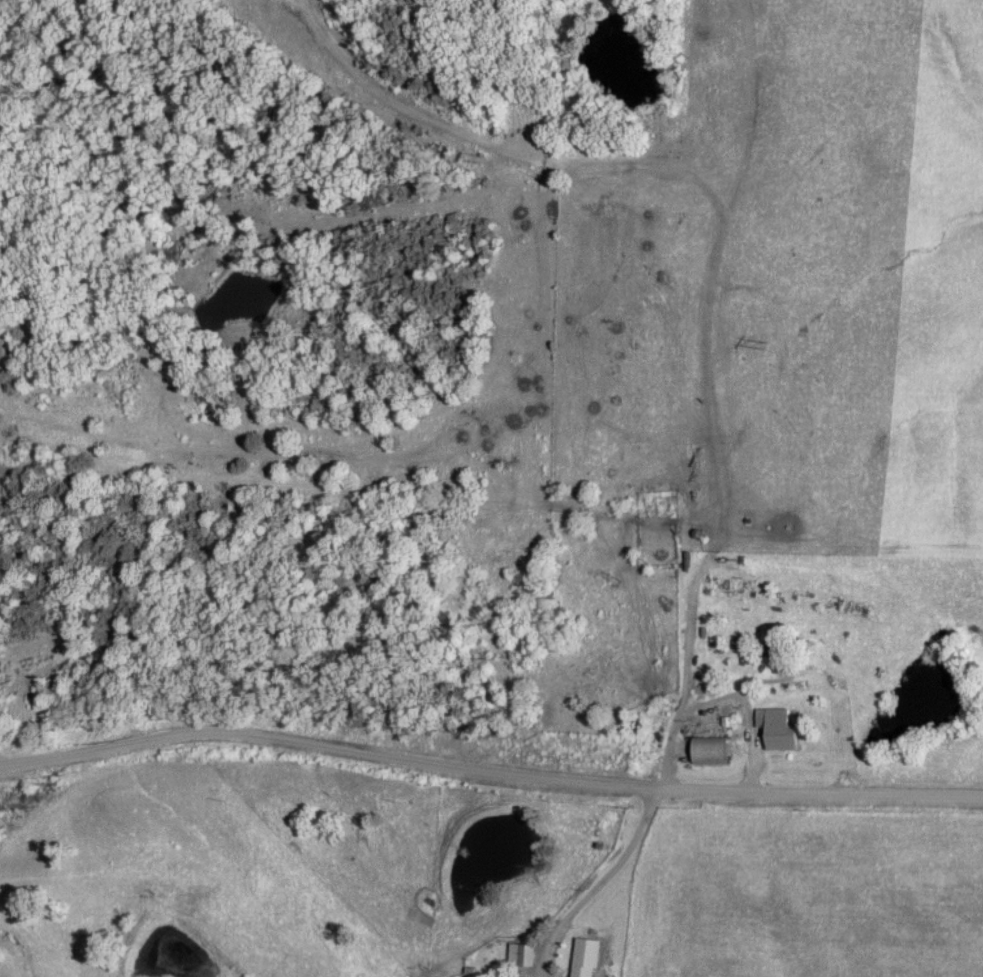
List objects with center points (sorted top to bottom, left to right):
road: (490, 149)
power tower: (475, 163)
power tower: (758, 344)
road: (695, 394)
building: (662, 495)
building: (777, 729)
building: (714, 751)
road: (487, 783)
road: (600, 885)
building: (526, 956)
building: (582, 963)

